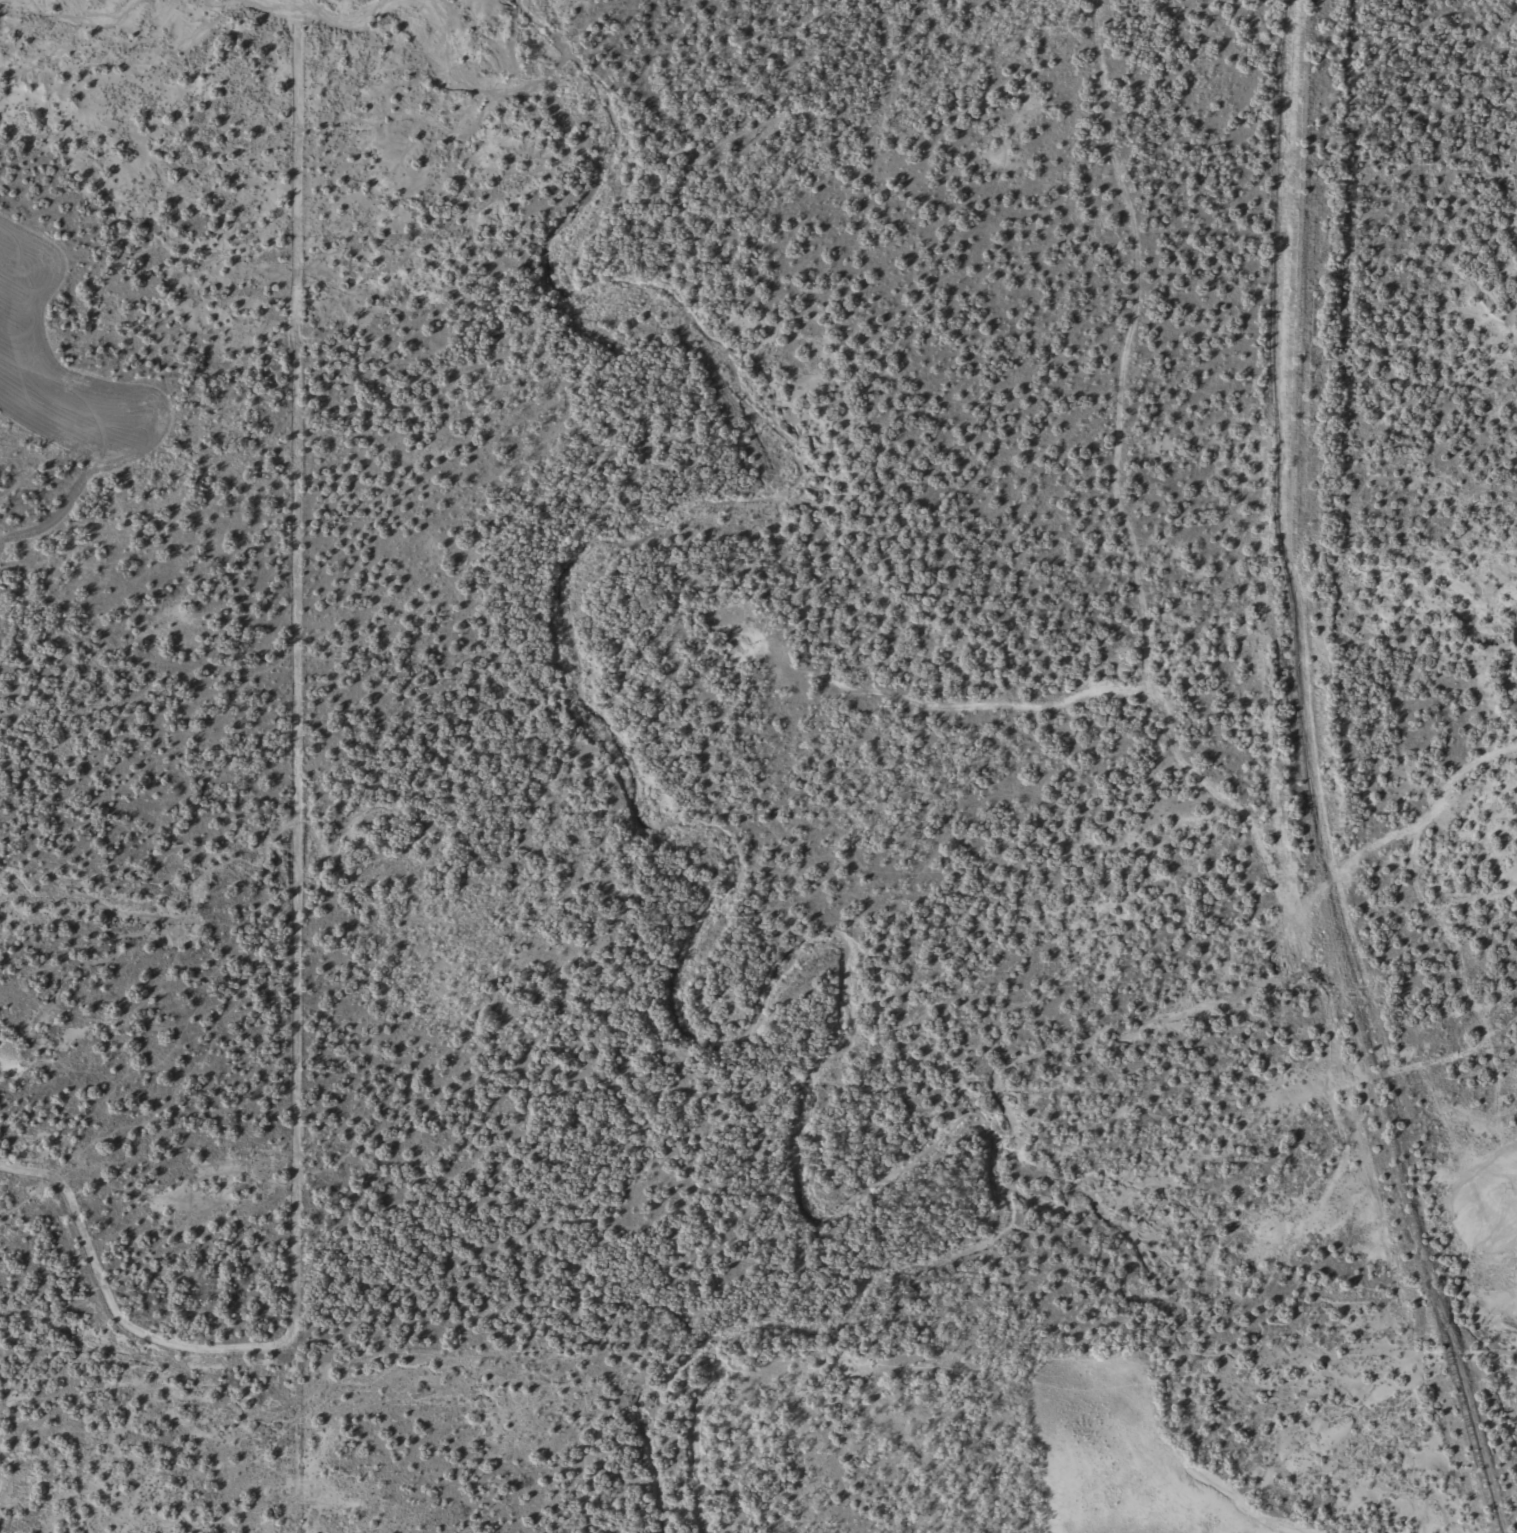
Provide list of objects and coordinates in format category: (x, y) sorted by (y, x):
railway: (1319, 777)

